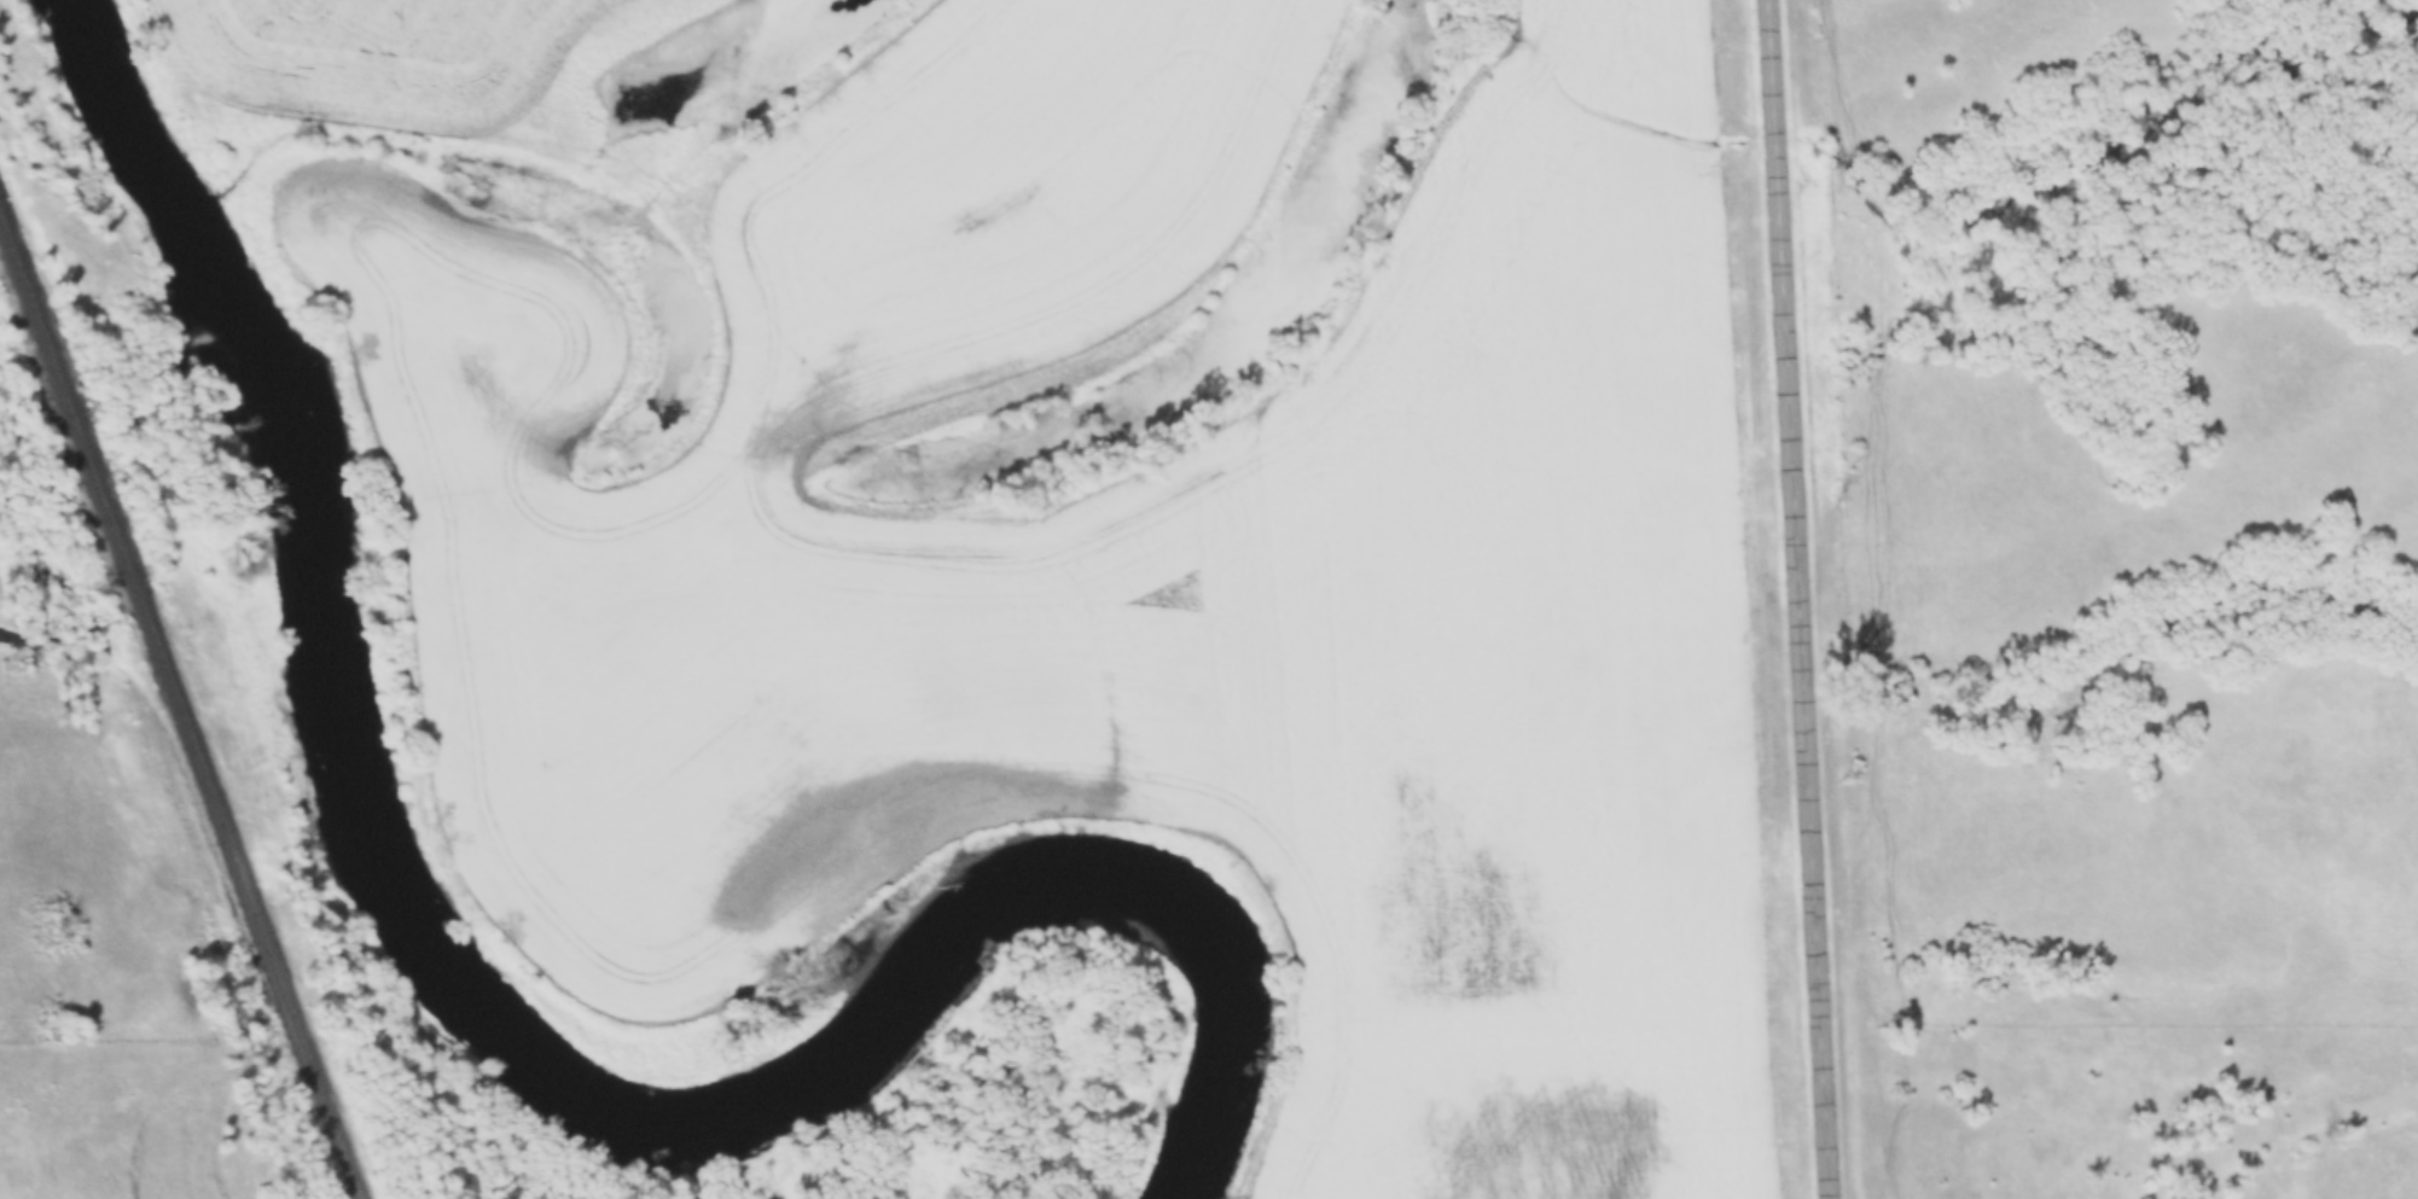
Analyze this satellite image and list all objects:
river: (146, 155)
road: (1797, 599)
railway: (157, 759)
river: (632, 1101)

